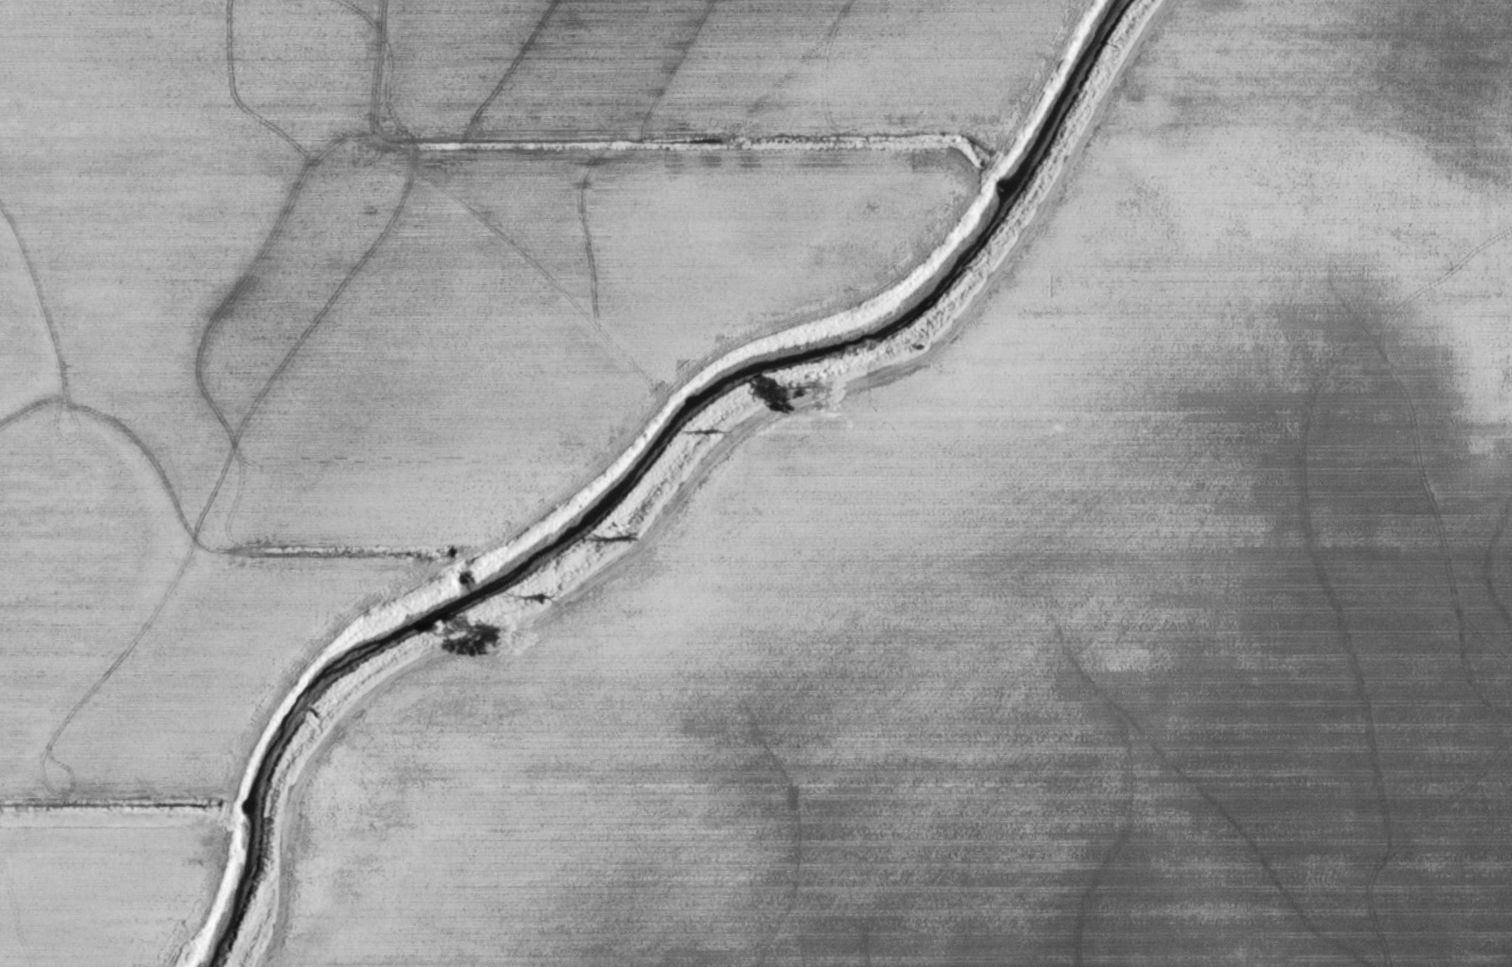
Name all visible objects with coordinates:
road: (695, 478)
road: (80, 816)

